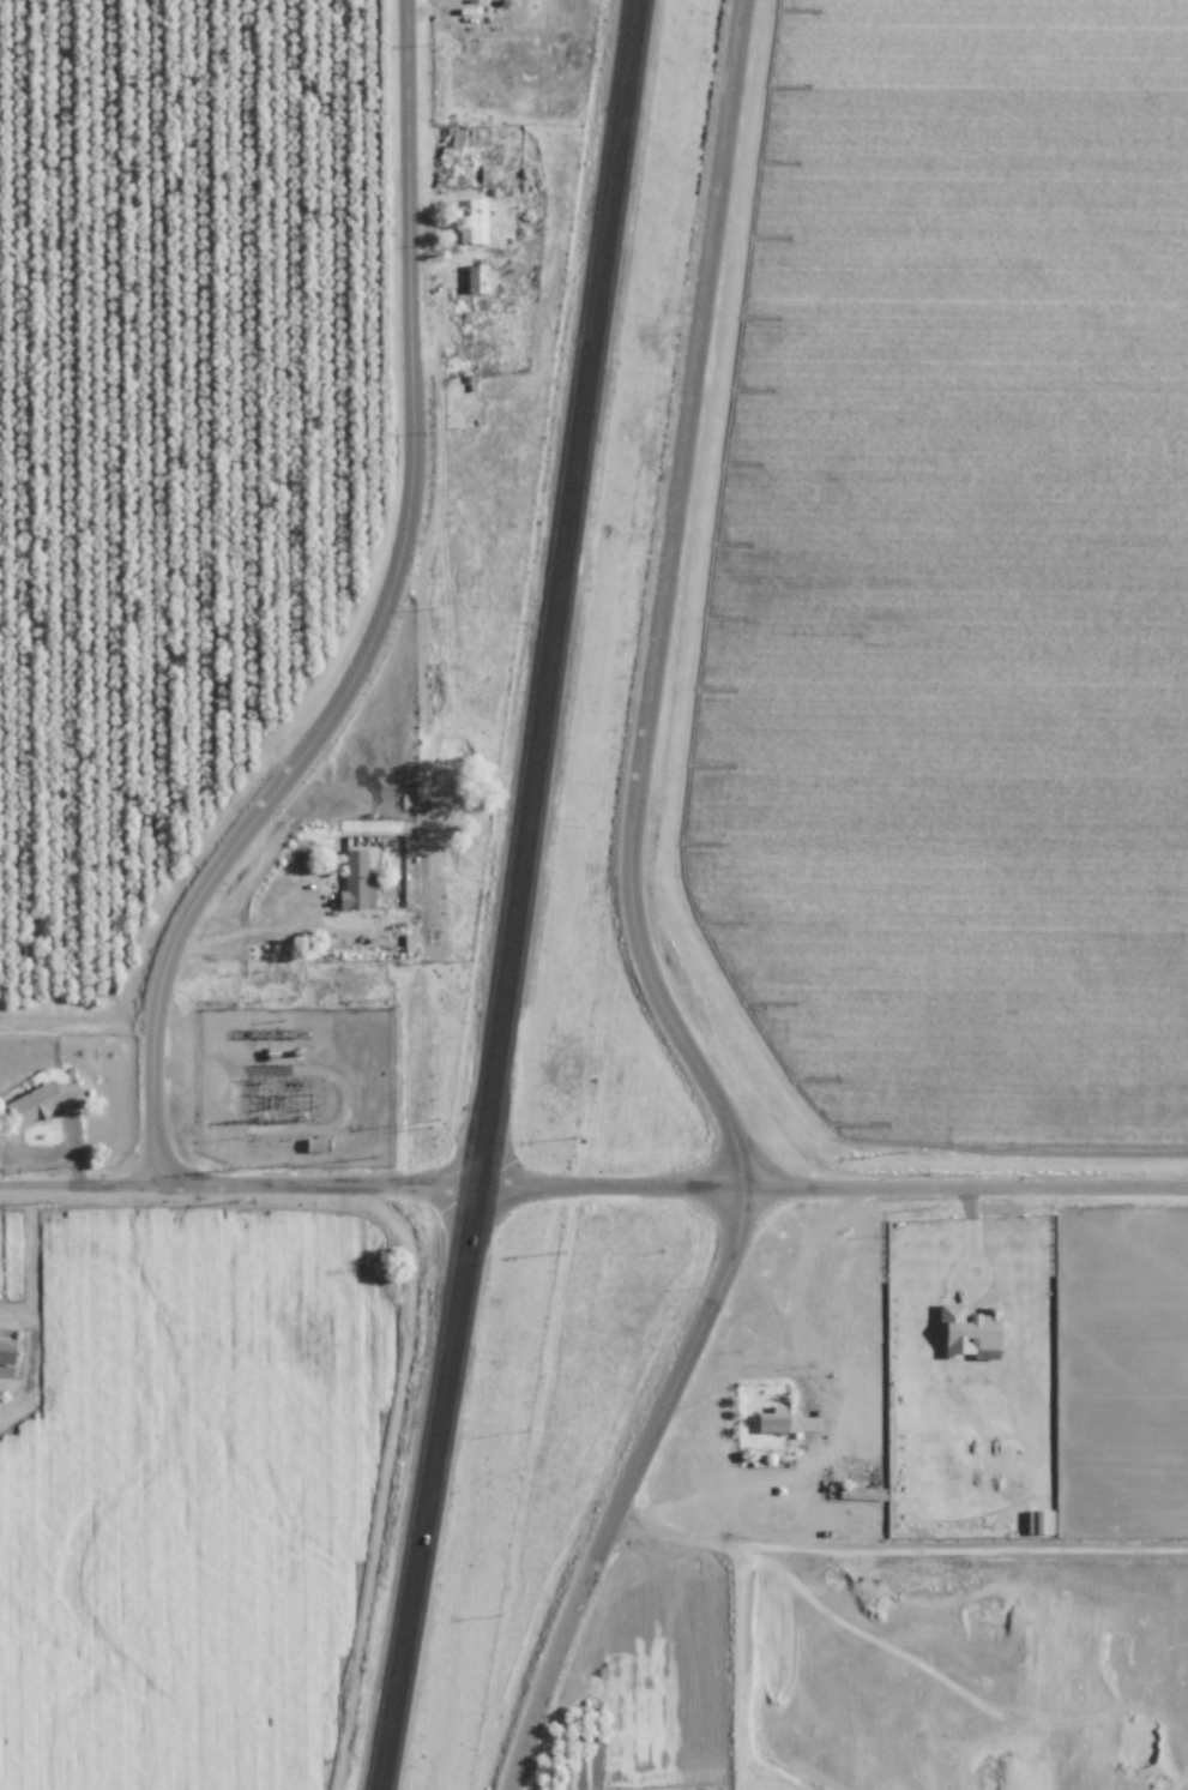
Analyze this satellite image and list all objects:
building: (493, 5)
crop: (999, 120)
building: (470, 222)
building: (471, 278)
road: (378, 614)
crop: (867, 708)
crop: (1085, 715)
building: (352, 881)
road: (512, 895)
road: (631, 920)
road: (246, 933)
building: (36, 1101)
road: (675, 1173)
road: (82, 1178)
road: (758, 1285)
building: (963, 1329)
building: (5, 1350)
road: (725, 1378)
road: (814, 1400)
crop: (206, 1497)

